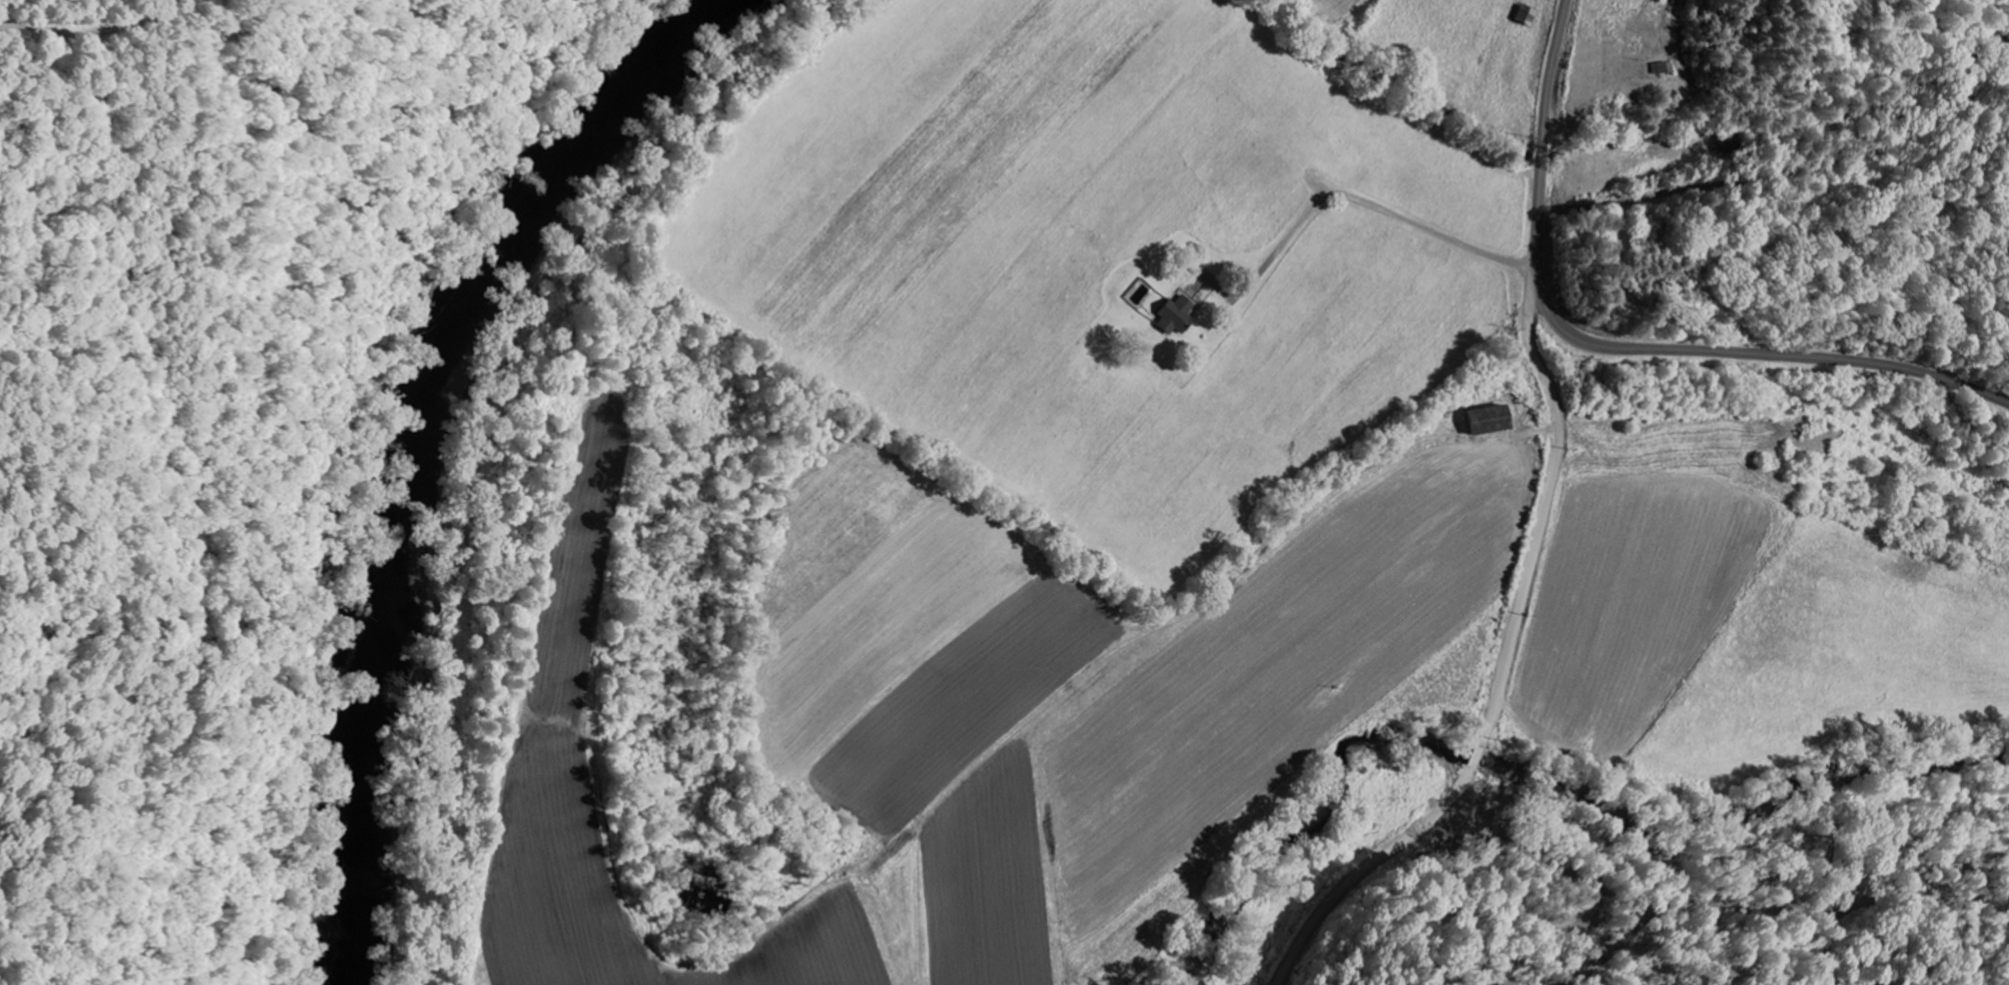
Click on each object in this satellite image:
road: (87, 31)
building: (1658, 68)
building: (1173, 314)
road: (1619, 347)
building: (1486, 419)
river: (412, 440)
road: (1506, 660)

